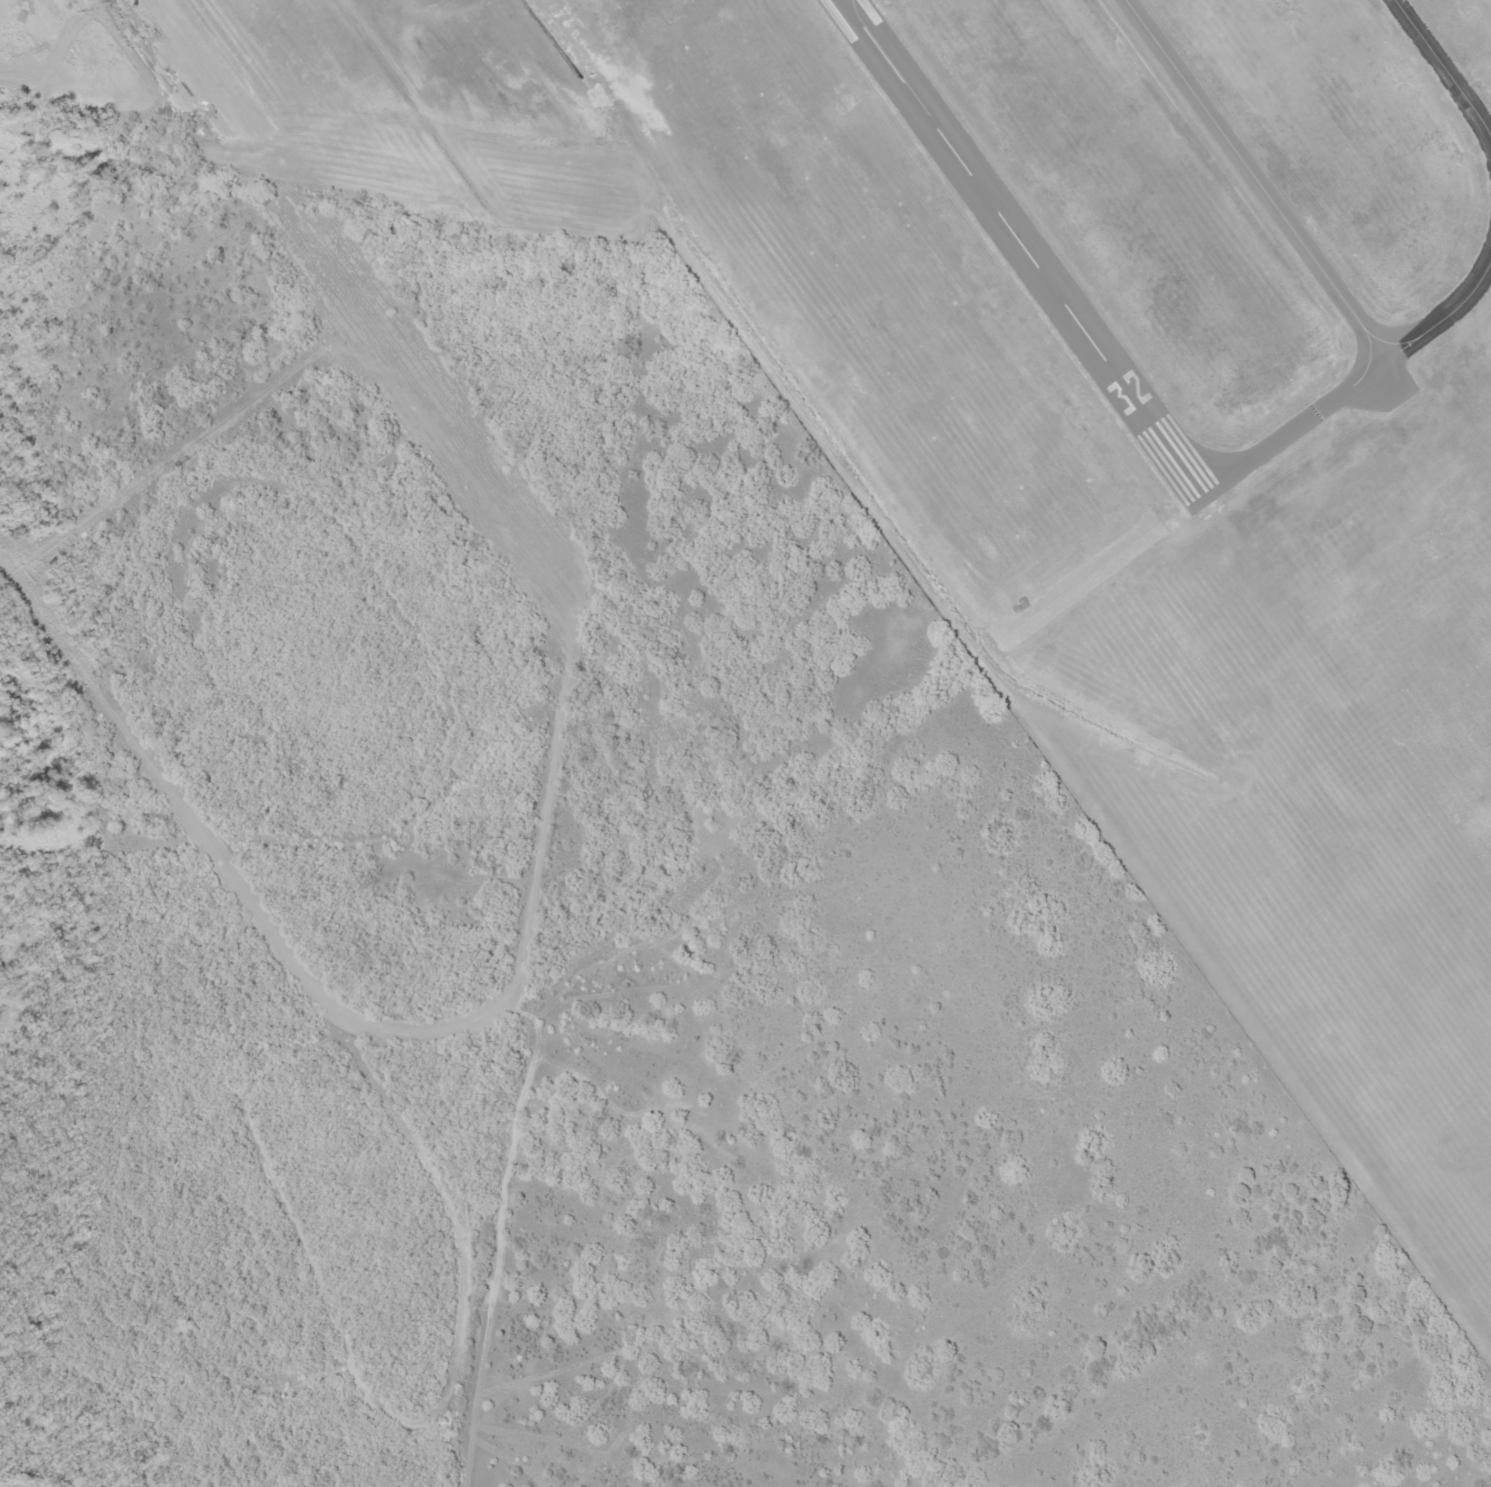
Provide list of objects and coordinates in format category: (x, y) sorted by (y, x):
airport taxiway: (1443, 69)
airport taxiway: (1253, 180)
airport runway: (1021, 247)
airport taxiway: (1354, 382)
road: (437, 414)
airport: (1127, 442)

